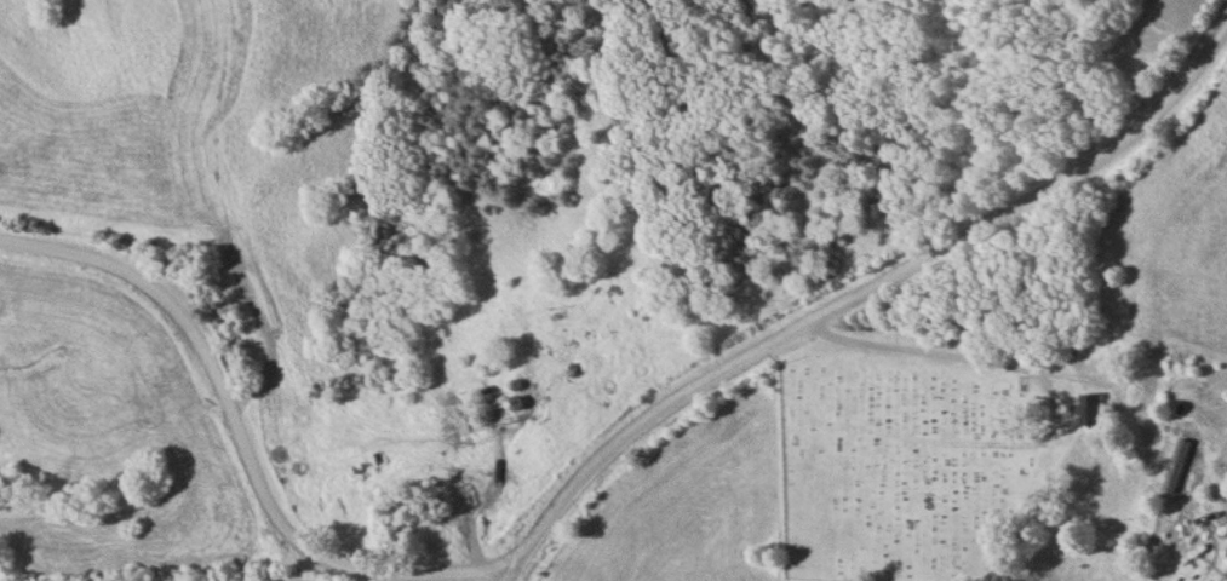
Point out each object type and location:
road: (861, 295)
building: (1093, 409)
road: (245, 436)
park: (912, 464)
building: (1226, 573)

